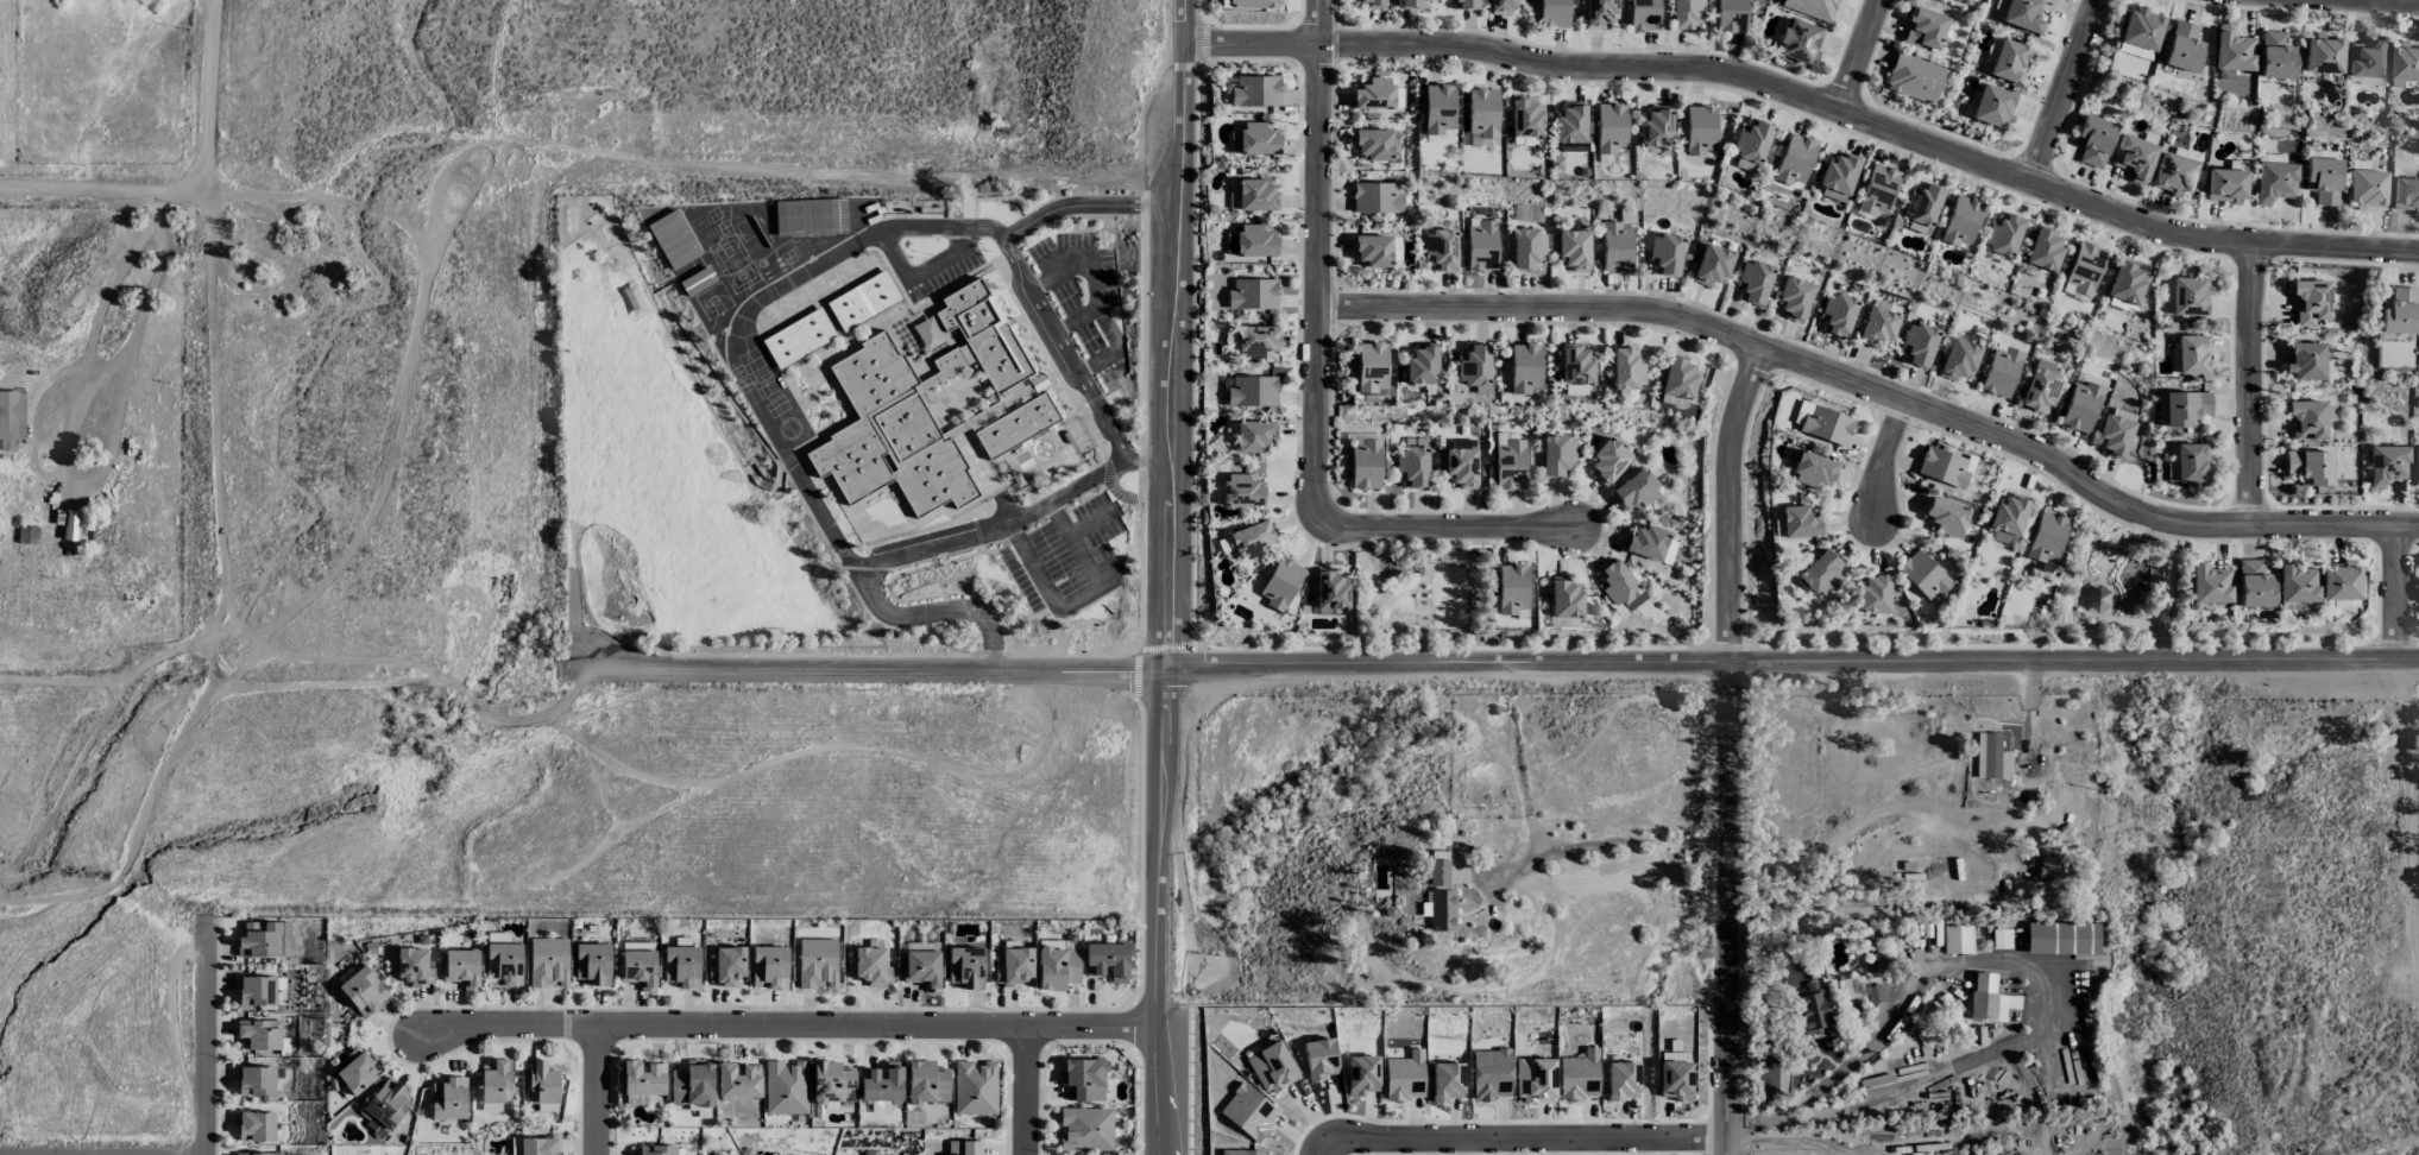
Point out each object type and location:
building: (1966, 1)
road: (2379, 1)
building: (1223, 4)
building: (1254, 4)
building: (1372, 4)
building: (1412, 4)
building: (1462, 5)
building: (1503, 6)
building: (1812, 7)
building: (1600, 12)
building: (1554, 13)
building: (1686, 13)
building: (2020, 14)
building: (1643, 15)
building: (1731, 15)
building: (1925, 29)
building: (2141, 29)
building: (1798, 40)
building: (2184, 48)
building: (2134, 51)
building: (2232, 51)
building: (2323, 55)
road: (1858, 56)
building: (2276, 56)
building: (2368, 58)
building: (2009, 62)
building: (2405, 67)
building: (1914, 78)
road: (1195, 83)
building: (1255, 90)
road: (2061, 91)
building: (1373, 93)
road: (207, 96)
road: (1810, 102)
building: (1970, 103)
building: (1993, 107)
building: (1438, 108)
building: (1482, 112)
building: (1526, 118)
building: (1570, 124)
building: (1656, 127)
building: (1699, 130)
building: (1255, 139)
building: (2093, 140)
building: (1373, 144)
building: (1751, 144)
building: (2134, 157)
building: (1794, 159)
building: (2174, 173)
building: (1837, 177)
building: (2323, 179)
building: (2274, 182)
building: (2226, 185)
building: (1876, 189)
building: (2367, 189)
road: (100, 192)
building: (2405, 194)
building: (1256, 195)
building: (1377, 197)
building: (1921, 206)
building: (810, 216)
building: (1960, 221)
building: (2002, 234)
building: (673, 239)
building: (1255, 240)
building: (1481, 244)
building: (1615, 247)
building: (1441, 250)
building: (1529, 250)
building: (2043, 250)
building: (1372, 251)
building: (1574, 251)
building: (1665, 254)
road: (1316, 258)
building: (1713, 265)
road: (1019, 266)
building: (2085, 267)
building: (697, 280)
building: (1753, 282)
building: (2127, 282)
building: (1253, 294)
building: (2167, 296)
building: (2190, 296)
building: (1794, 298)
building: (863, 299)
building: (2310, 301)
building: (2398, 311)
road: (743, 313)
building: (1837, 314)
building: (1878, 327)
road: (1144, 328)
building: (977, 333)
road: (1174, 335)
building: (798, 337)
building: (1256, 341)
building: (1917, 345)
road: (108, 353)
road: (1195, 354)
building: (2193, 354)
building: (1959, 359)
building: (2305, 360)
building: (1422, 365)
building: (1576, 365)
building: (1372, 367)
building: (1474, 367)
building: (1525, 368)
building: (1627, 368)
building: (2001, 372)
building: (1680, 379)
road: (2248, 385)
building: (2040, 386)
building: (1575, 390)
building: (1251, 391)
road: (1875, 392)
building: (1674, 400)
building: (2080, 406)
building: (2185, 408)
building: (1018, 416)
building: (11, 418)
building: (2306, 418)
road: (214, 425)
building: (1826, 425)
building: (960, 428)
building: (892, 431)
building: (2115, 435)
building: (1255, 436)
building: (1557, 456)
road: (1881, 459)
building: (1608, 461)
building: (1510, 462)
building: (2186, 462)
road: (1146, 463)
building: (1412, 463)
building: (1366, 465)
building: (2387, 465)
building: (2415, 466)
building: (1461, 467)
building: (1942, 467)
building: (2310, 467)
building: (1813, 471)
road: (93, 478)
building: (1242, 490)
building: (1636, 491)
road: (1728, 504)
building: (1944, 517)
building: (2007, 519)
building: (1798, 522)
building: (67, 523)
road: (1442, 528)
building: (1251, 539)
building: (1646, 542)
building: (2042, 544)
road: (895, 550)
building: (2103, 567)
building: (1820, 573)
building: (1922, 575)
building: (2339, 581)
building: (1280, 583)
building: (2295, 583)
building: (2209, 585)
building: (2254, 585)
building: (1619, 586)
building: (1511, 588)
building: (1330, 592)
building: (1873, 593)
road: (2393, 593)
building: (1566, 598)
road: (1078, 599)
building: (2342, 604)
road: (1144, 639)
road: (1168, 644)
road: (1210, 650)
road: (886, 656)
road: (1793, 662)
road: (868, 673)
road: (127, 675)
road: (1135, 675)
road: (1126, 689)
building: (1990, 757)
road: (136, 825)
road: (1618, 841)
road: (1141, 848)
road: (2406, 854)
building: (1438, 872)
road: (1726, 908)
building: (1441, 910)
road: (1155, 913)
building: (497, 938)
building: (2061, 938)
building: (1957, 939)
building: (258, 940)
building: (637, 946)
building: (1107, 960)
building: (548, 961)
building: (592, 964)
building: (817, 964)
building: (503, 965)
road: (2033, 965)
building: (411, 966)
building: (681, 966)
building: (726, 966)
building: (871, 966)
building: (1014, 966)
building: (461, 967)
building: (768, 967)
building: (965, 967)
building: (1057, 967)
building: (637, 968)
building: (921, 968)
road: (1144, 985)
building: (256, 990)
building: (363, 991)
building: (1989, 999)
building: (1812, 1010)
road: (787, 1027)
road: (1130, 1027)
building: (259, 1035)
road: (204, 1036)
road: (1121, 1040)
building: (1319, 1058)
building: (1272, 1067)
building: (355, 1071)
building: (1491, 1073)
building: (1361, 1074)
building: (1579, 1075)
building: (1404, 1077)
building: (643, 1078)
building: (1083, 1079)
building: (256, 1080)
building: (1535, 1080)
building: (1621, 1080)
building: (1675, 1080)
building: (737, 1081)
building: (1447, 1081)
building: (541, 1083)
building: (926, 1083)
building: (692, 1084)
building: (831, 1084)
building: (494, 1085)
building: (881, 1086)
building: (785, 1087)
building: (974, 1087)
road: (596, 1091)
road: (1023, 1091)
building: (448, 1099)
building: (385, 1106)
road: (1139, 1110)
building: (1248, 1112)
building: (256, 1126)
building: (1085, 1129)
road: (1523, 1138)
road: (1788, 1142)
building: (534, 1145)
building: (963, 1148)
building: (656, 1149)
road: (1318, 1149)
building: (1241, 1151)
building: (256, 1154)

